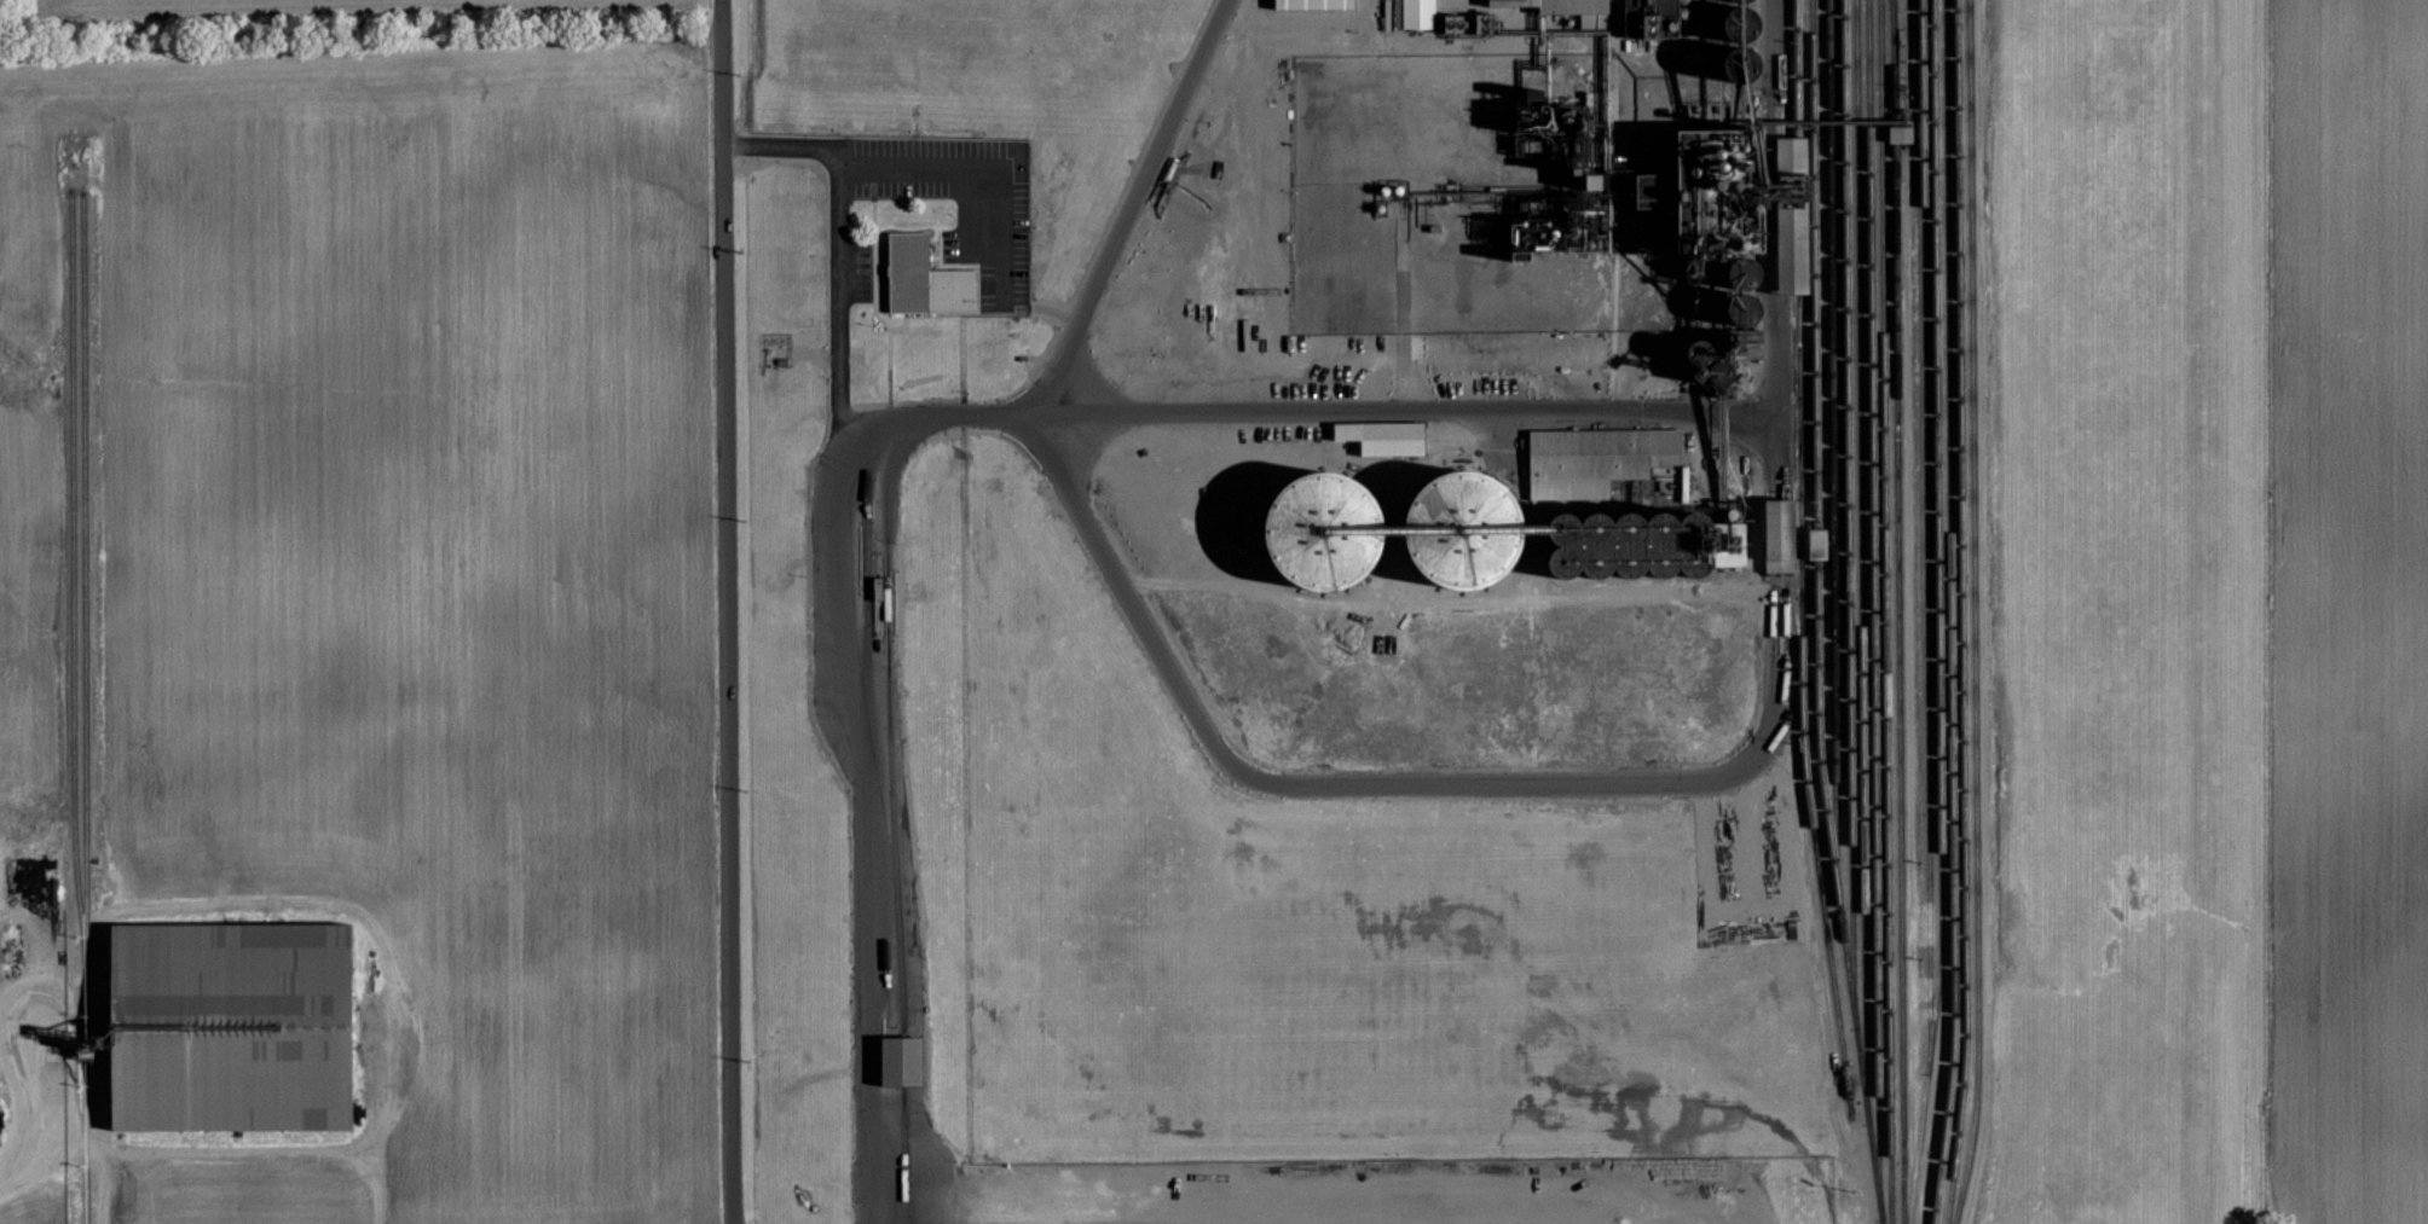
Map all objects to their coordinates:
silo: (1739, 0)
building: (1313, 4)
building: (1560, 5)
building: (1416, 13)
building: (1653, 17)
silo: (1738, 23)
silo: (1739, 63)
road: (1777, 68)
road: (775, 145)
road: (838, 172)
building: (1683, 193)
building: (1788, 214)
parking lot: (992, 215)
road: (838, 220)
road: (1011, 228)
road: (838, 272)
parking lot: (850, 272)
building: (906, 272)
silo: (1742, 272)
silo: (1741, 308)
silo: (1695, 350)
railway: (1798, 369)
silo: (1718, 373)
railway: (1815, 375)
road: (839, 378)
road: (1780, 395)
road: (926, 418)
building: (1391, 437)
railway: (1832, 442)
building: (1600, 459)
railway: (1936, 474)
railway: (1848, 499)
railway: (1924, 524)
building: (1323, 527)
building: (1562, 532)
building: (1776, 535)
building: (1814, 543)
railway: (1860, 549)
railway: (73, 592)
railway: (85, 592)
railway: (1872, 597)
road: (727, 611)
railway: (1885, 611)
railway: (1898, 611)
road: (1185, 695)
railway: (1840, 916)
railway: (1826, 927)
building: (231, 1027)
building: (895, 1062)
railway: (1924, 1085)
railway: (86, 1108)
road: (83, 1148)
road: (268, 1155)

